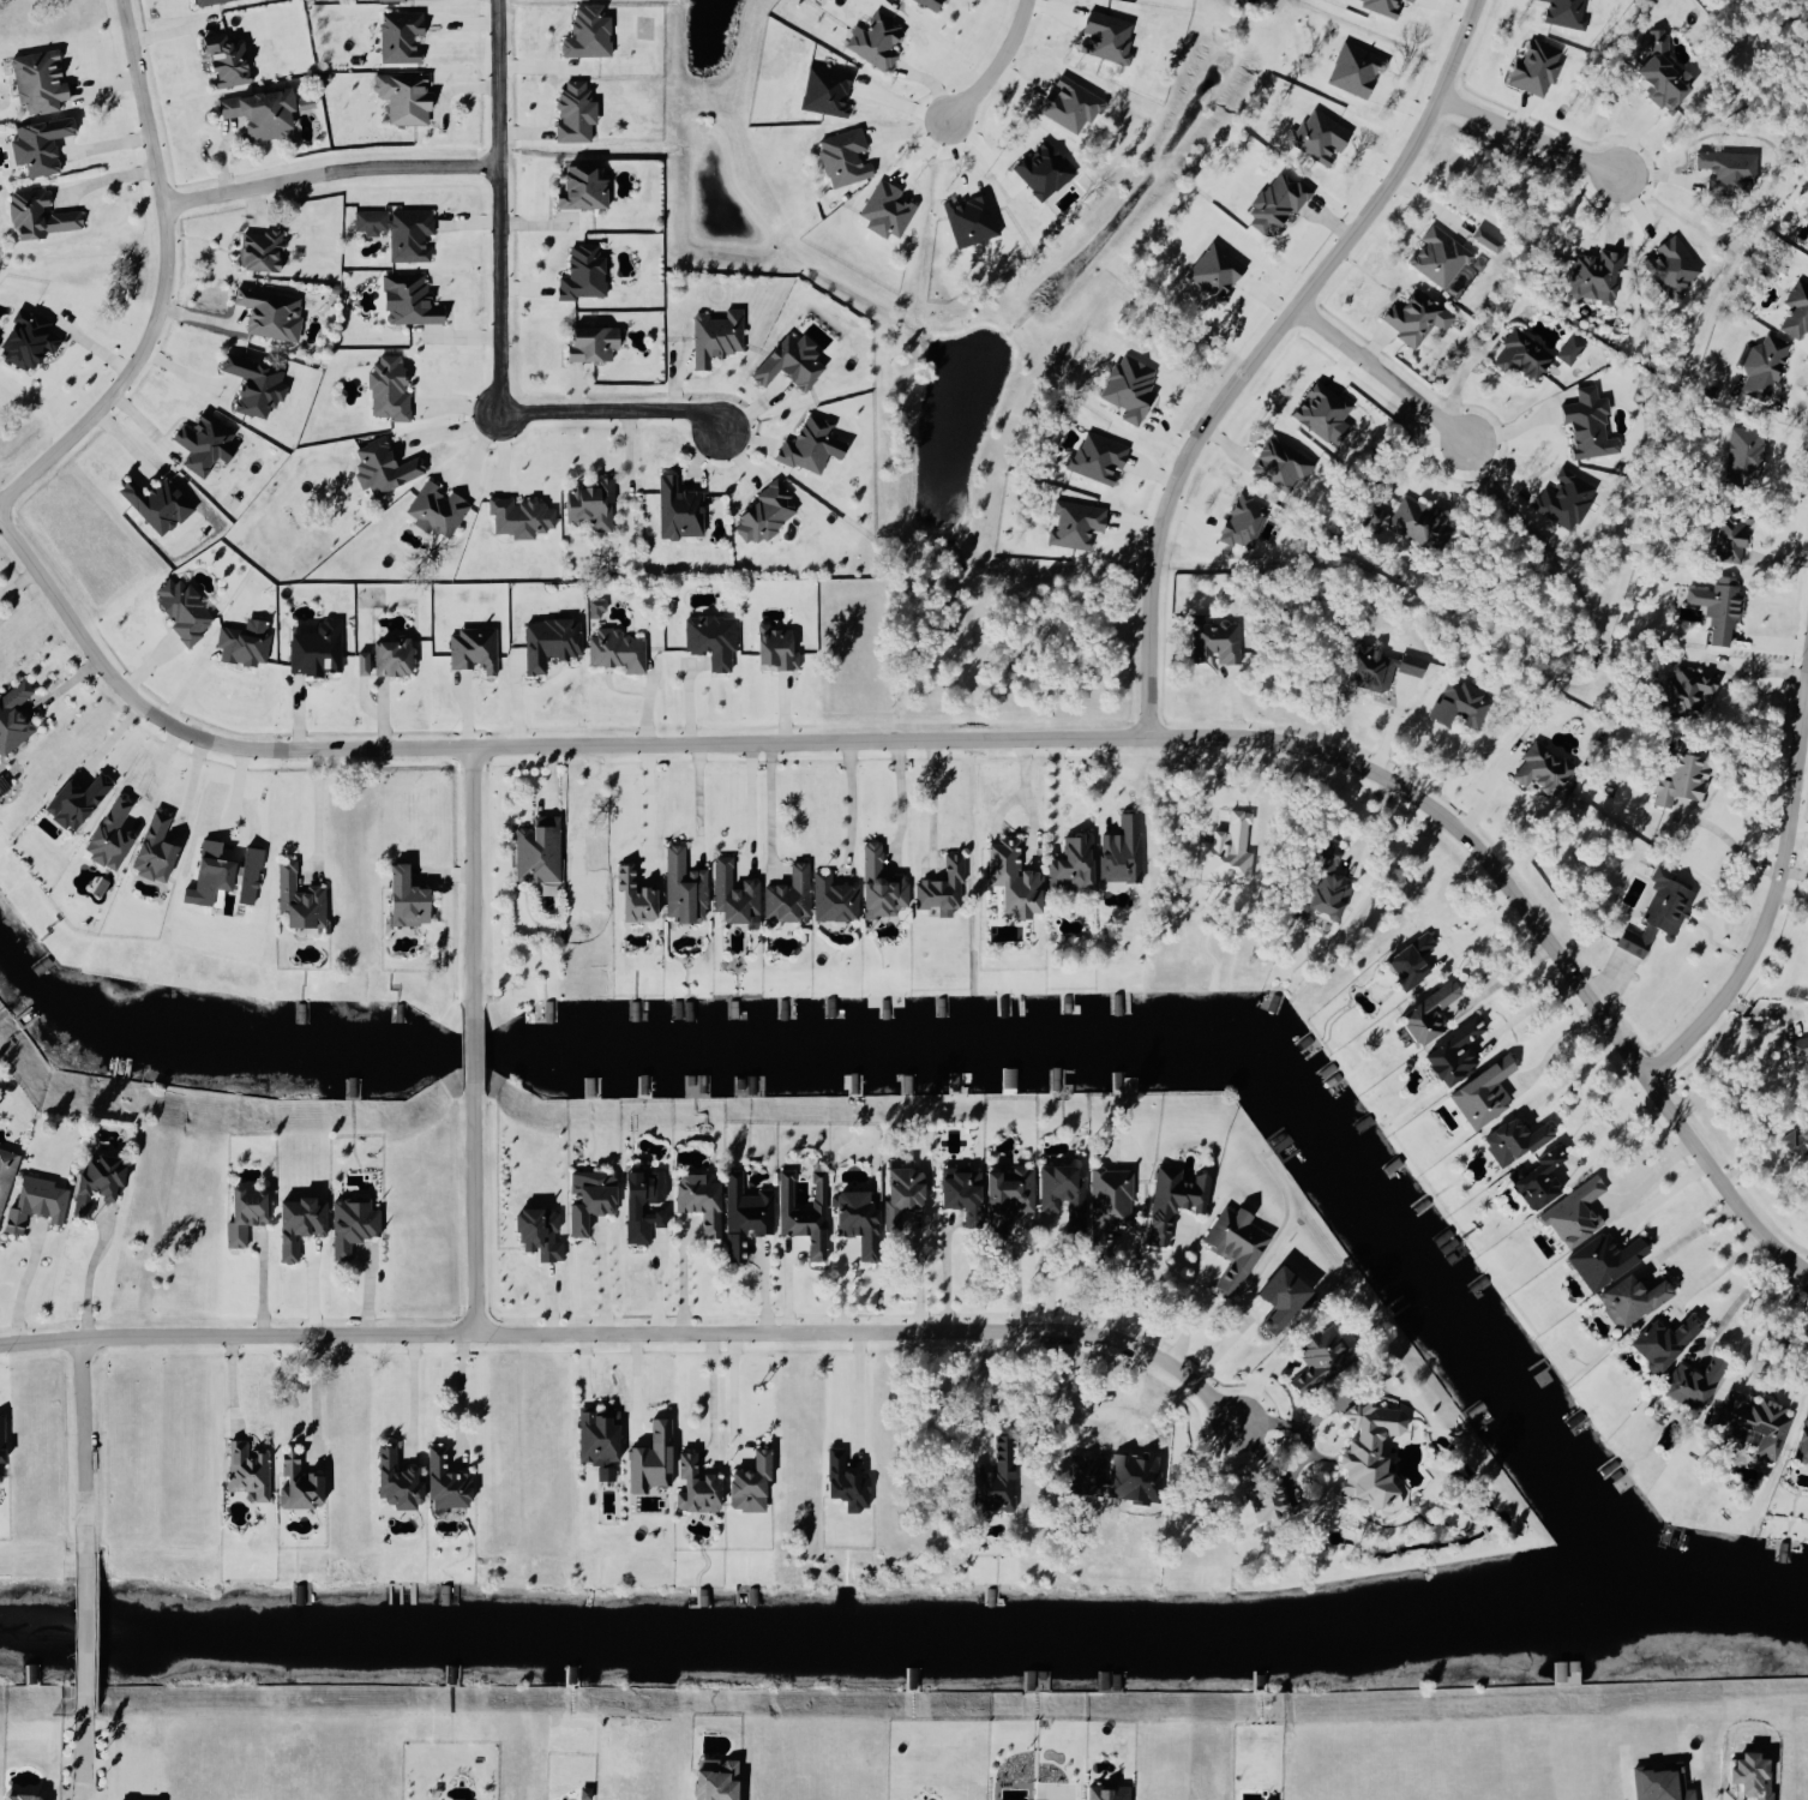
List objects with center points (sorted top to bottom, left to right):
building: (1407, 0)
building: (202, 1)
building: (927, 2)
building: (1378, 5)
building: (1562, 12)
building: (584, 31)
building: (397, 35)
building: (1103, 36)
building: (873, 40)
building: (222, 58)
road: (996, 66)
building: (1532, 66)
building: (1352, 68)
building: (1657, 70)
building: (35, 80)
building: (822, 90)
building: (401, 96)
building: (257, 112)
building: (571, 112)
road: (1524, 134)
building: (1316, 136)
building: (36, 144)
building: (841, 156)
building: (1723, 167)
road: (329, 169)
building: (1039, 169)
road: (103, 178)
building: (577, 187)
building: (1273, 202)
road: (498, 208)
building: (35, 214)
building: (967, 218)
building: (396, 229)
building: (1483, 239)
building: (257, 248)
building: (1436, 256)
building: (1212, 270)
building: (579, 272)
building: (1592, 275)
road: (160, 276)
building: (406, 299)
building: (1795, 311)
building: (268, 313)
building: (1413, 316)
building: (713, 335)
building: (24, 337)
building: (588, 342)
building: (1568, 348)
road: (1257, 352)
building: (1518, 354)
building: (786, 361)
building: (1760, 365)
road: (181, 370)
road: (1377, 374)
building: (251, 384)
building: (1127, 386)
building: (385, 388)
building: (1319, 409)
road: (613, 413)
road: (143, 421)
building: (1585, 424)
road: (446, 428)
building: (200, 440)
building: (807, 444)
building: (1741, 454)
building: (1095, 456)
building: (1279, 463)
building: (379, 466)
building: (1564, 499)
building: (152, 503)
building: (588, 504)
building: (434, 509)
building: (675, 509)
building: (761, 514)
building: (517, 516)
building: (1407, 520)
building: (1241, 521)
building: (1073, 522)
building: (1728, 538)
road: (22, 587)
building: (1716, 606)
building: (593, 607)
building: (179, 608)
building: (709, 638)
building: (1212, 638)
building: (547, 641)
building: (239, 644)
building: (312, 647)
building: (770, 647)
building: (470, 648)
building: (614, 650)
building: (388, 656)
building: (359, 662)
building: (1376, 666)
road: (1804, 668)
building: (1683, 689)
road: (1804, 695)
building: (1454, 702)
building: (12, 714)
road: (843, 740)
building: (1537, 770)
building: (1678, 775)
road: (1027, 792)
road: (196, 796)
road: (899, 796)
road: (696, 797)
road: (747, 798)
building: (71, 799)
road: (848, 802)
road: (768, 803)
road: (931, 803)
road: (645, 804)
road: (324, 805)
building: (106, 833)
building: (150, 848)
building: (535, 850)
building: (1118, 851)
building: (1224, 851)
building: (1068, 864)
building: (204, 872)
building: (245, 875)
road: (468, 877)
building: (1008, 878)
building: (941, 883)
building: (1320, 886)
building: (680, 887)
building: (858, 890)
building: (786, 894)
building: (629, 895)
building: (401, 898)
building: (295, 899)
road: (1766, 904)
building: (1656, 912)
building: (1407, 960)
road: (1509, 984)
building: (1423, 1014)
building: (1796, 1046)
road: (1551, 1049)
road: (469, 1051)
building: (1448, 1054)
road: (1572, 1075)
building: (1480, 1092)
road: (1615, 1126)
building: (1795, 1139)
building: (1510, 1140)
road: (1646, 1176)
building: (7, 1177)
building: (1534, 1178)
building: (103, 1183)
road: (1718, 1184)
building: (955, 1186)
building: (899, 1192)
building: (1061, 1192)
building: (1003, 1193)
building: (1107, 1194)
building: (585, 1198)
building: (696, 1199)
building: (1171, 1199)
building: (41, 1201)
building: (627, 1205)
building: (240, 1212)
building: (801, 1212)
road: (471, 1213)
building: (743, 1213)
building: (1572, 1213)
building: (852, 1214)
building: (294, 1223)
building: (348, 1223)
building: (534, 1230)
road: (1687, 1235)
building: (1232, 1244)
building: (1600, 1258)
road: (88, 1272)
road: (1045, 1273)
road: (943, 1274)
road: (924, 1276)
road: (1013, 1276)
road: (25, 1280)
road: (600, 1280)
road: (1167, 1286)
building: (1275, 1295)
building: (1627, 1296)
road: (1742, 1308)
road: (630, 1333)
building: (1659, 1339)
building: (1316, 1354)
building: (1690, 1381)
road: (635, 1387)
road: (455, 1390)
road: (977, 1390)
road: (731, 1392)
road: (410, 1393)
road: (312, 1397)
road: (709, 1397)
road: (79, 1414)
building: (1754, 1418)
building: (595, 1439)
building: (1801, 1441)
building: (4, 1450)
building: (647, 1457)
building: (1339, 1466)
building: (245, 1469)
building: (991, 1477)
building: (390, 1478)
building: (442, 1480)
building: (294, 1481)
building: (745, 1482)
building: (692, 1484)
road: (82, 1520)
road: (80, 1630)
road: (79, 1754)
building: (1658, 1782)
building: (1106, 1790)
building: (16, 1795)

